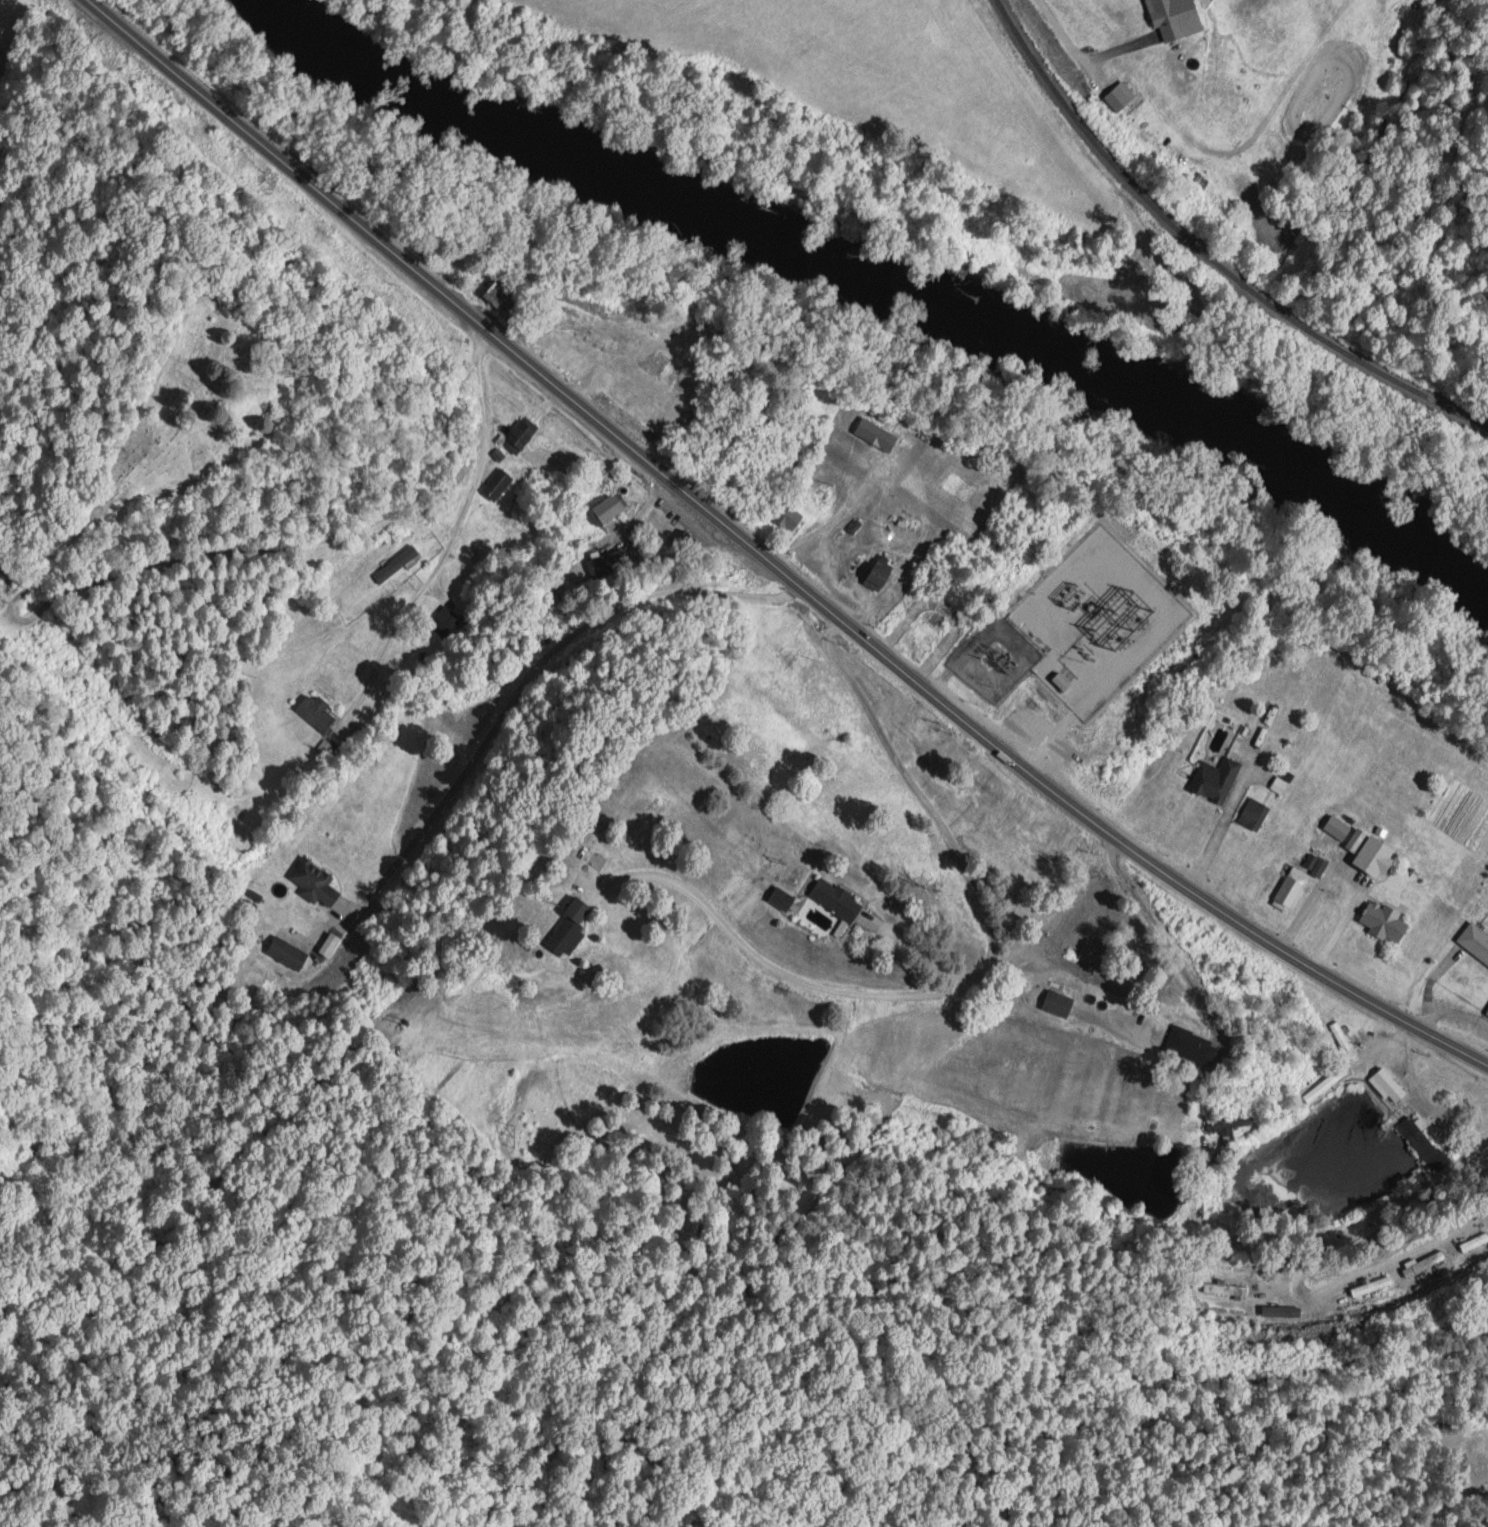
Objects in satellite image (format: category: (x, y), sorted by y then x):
building: (1174, 18)
railway: (1204, 256)
river: (882, 278)
building: (516, 437)
building: (496, 484)
building: (609, 505)
building: (785, 517)
building: (670, 529)
road: (449, 540)
building: (1114, 554)
road: (192, 557)
road: (770, 559)
building: (606, 563)
building: (876, 572)
building: (1057, 597)
building: (444, 621)
building: (1141, 623)
building: (909, 629)
building: (1127, 652)
road: (1056, 666)
building: (1104, 672)
road: (520, 690)
building: (1085, 695)
building: (316, 713)
building: (1051, 717)
building: (1103, 765)
building: (1213, 780)
building: (1252, 815)
road: (1217, 832)
road: (954, 847)
building: (1371, 856)
building: (313, 883)
building: (1287, 888)
building: (778, 898)
building: (833, 899)
building: (1382, 921)
road: (330, 926)
building: (563, 936)
building: (1474, 941)
building: (285, 953)
road: (763, 961)
building: (1053, 1003)
building: (1485, 1012)
building: (1187, 1046)
road: (1210, 1086)
building: (1323, 1086)
building: (1384, 1086)
road: (1418, 1096)
building: (1224, 1123)
building: (1418, 1142)
road: (1313, 1237)
building: (1472, 1242)
building: (1421, 1263)
building: (1369, 1286)
road: (1297, 1298)

